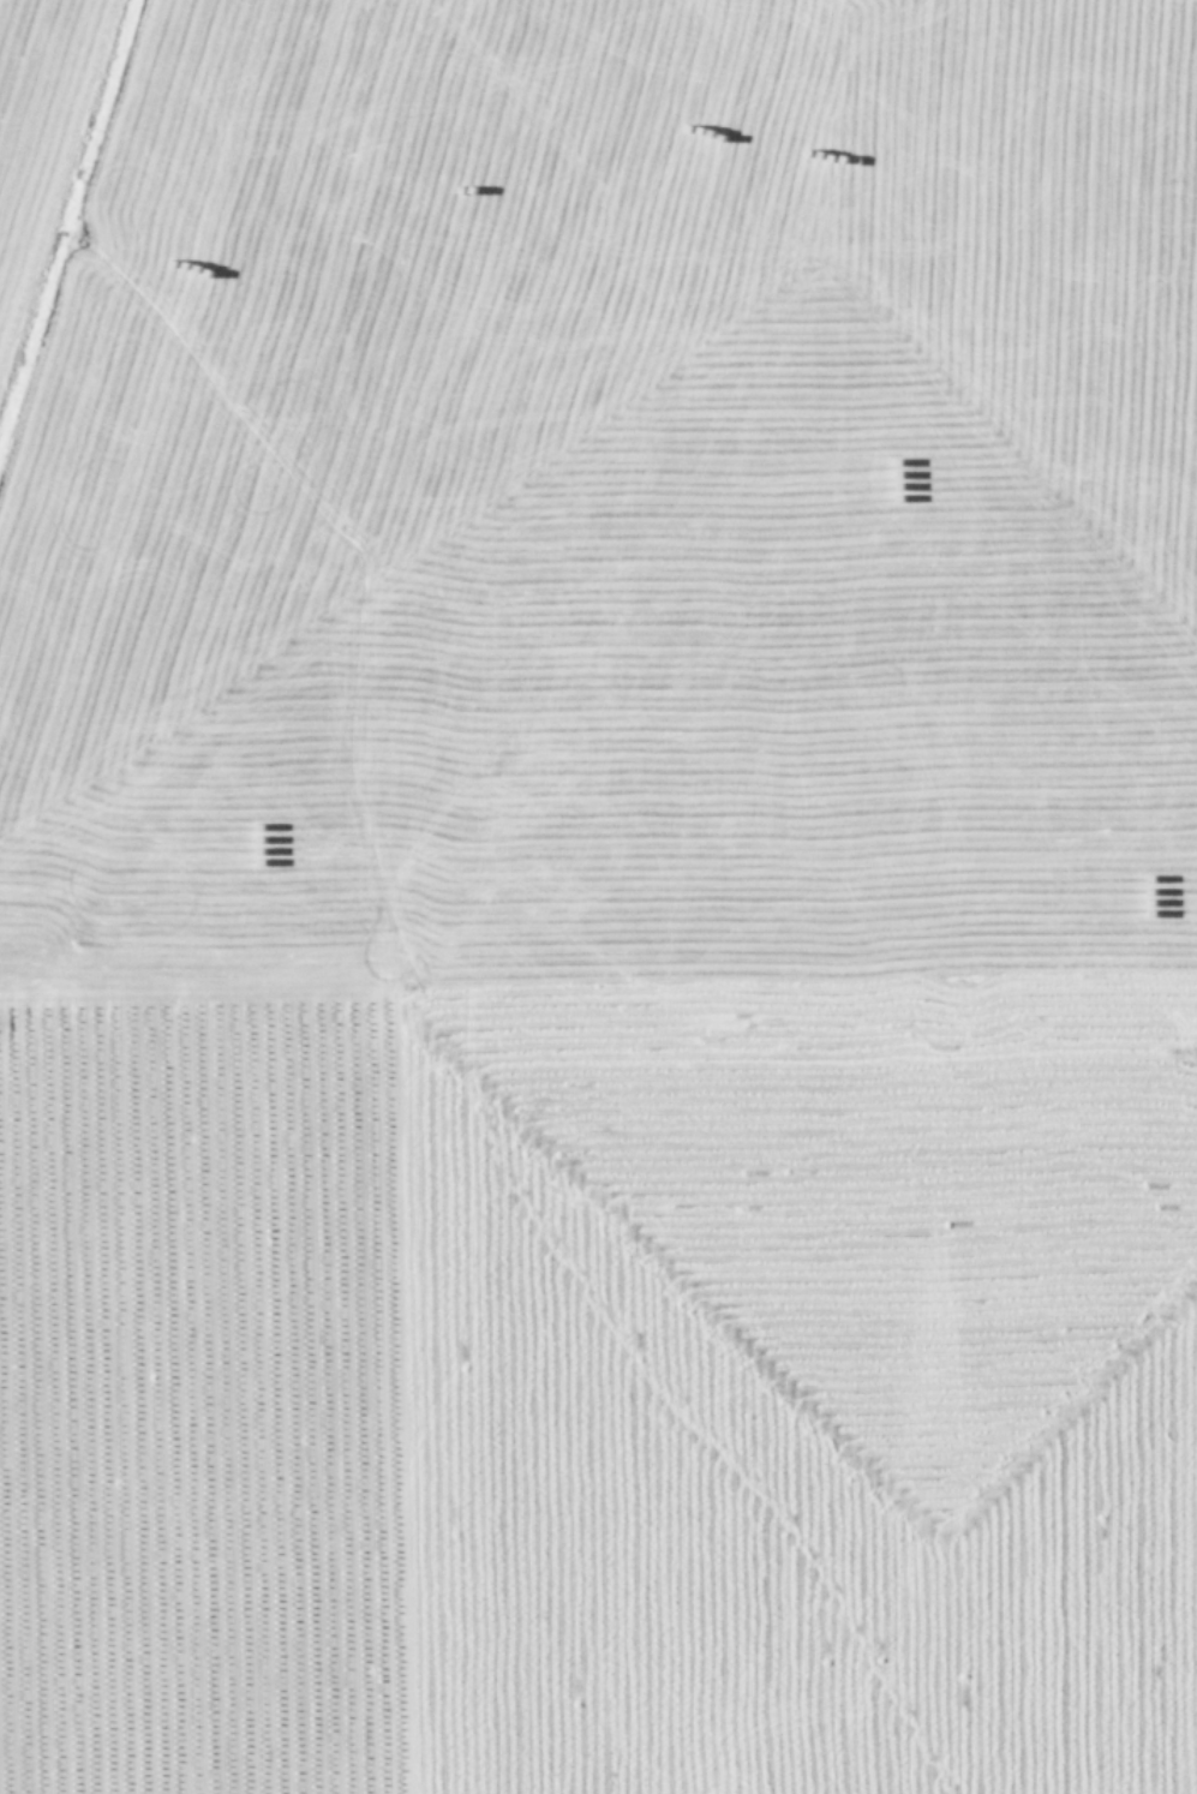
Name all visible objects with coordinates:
crop: (598, 897)

